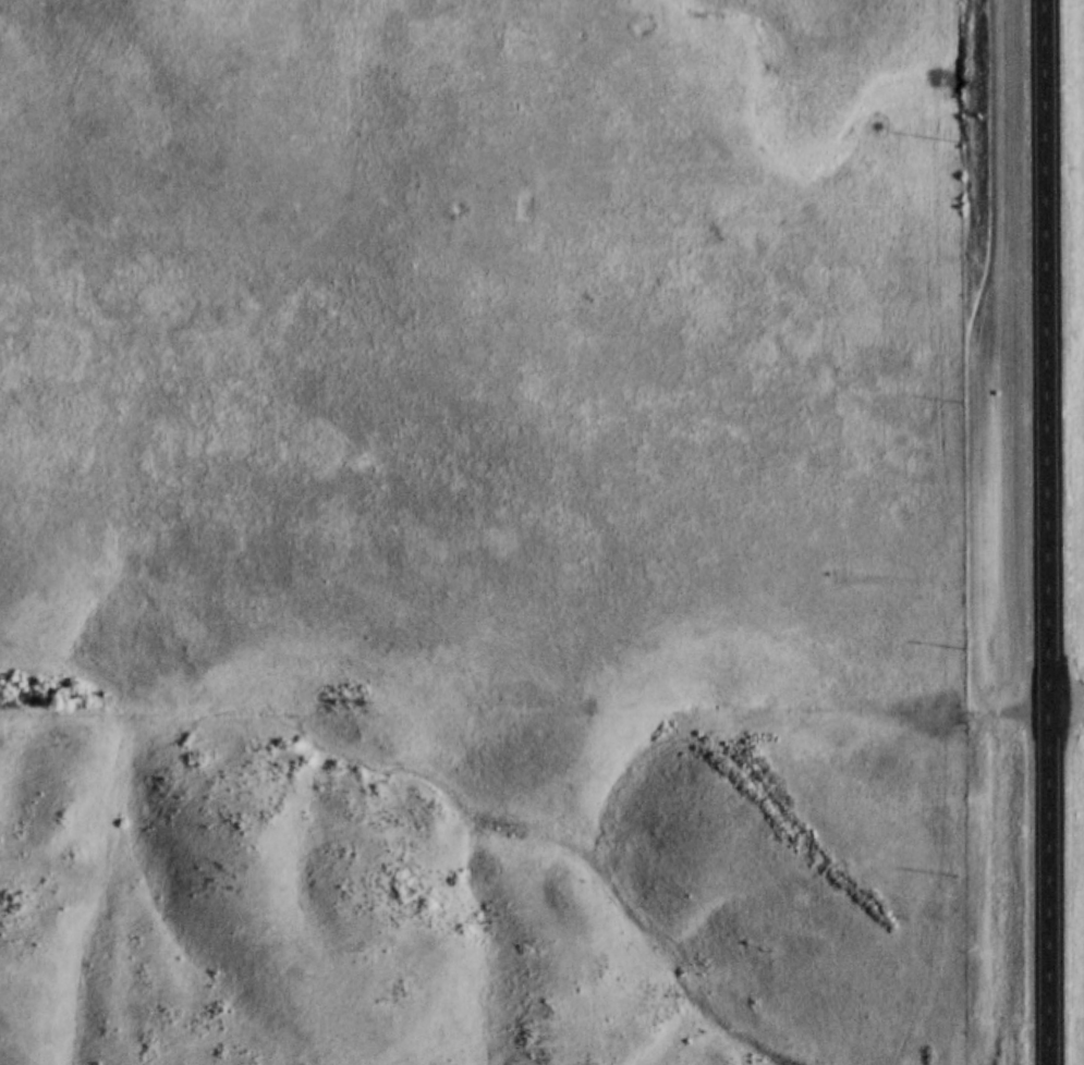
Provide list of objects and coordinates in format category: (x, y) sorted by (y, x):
road: (1048, 531)
road: (1067, 712)

